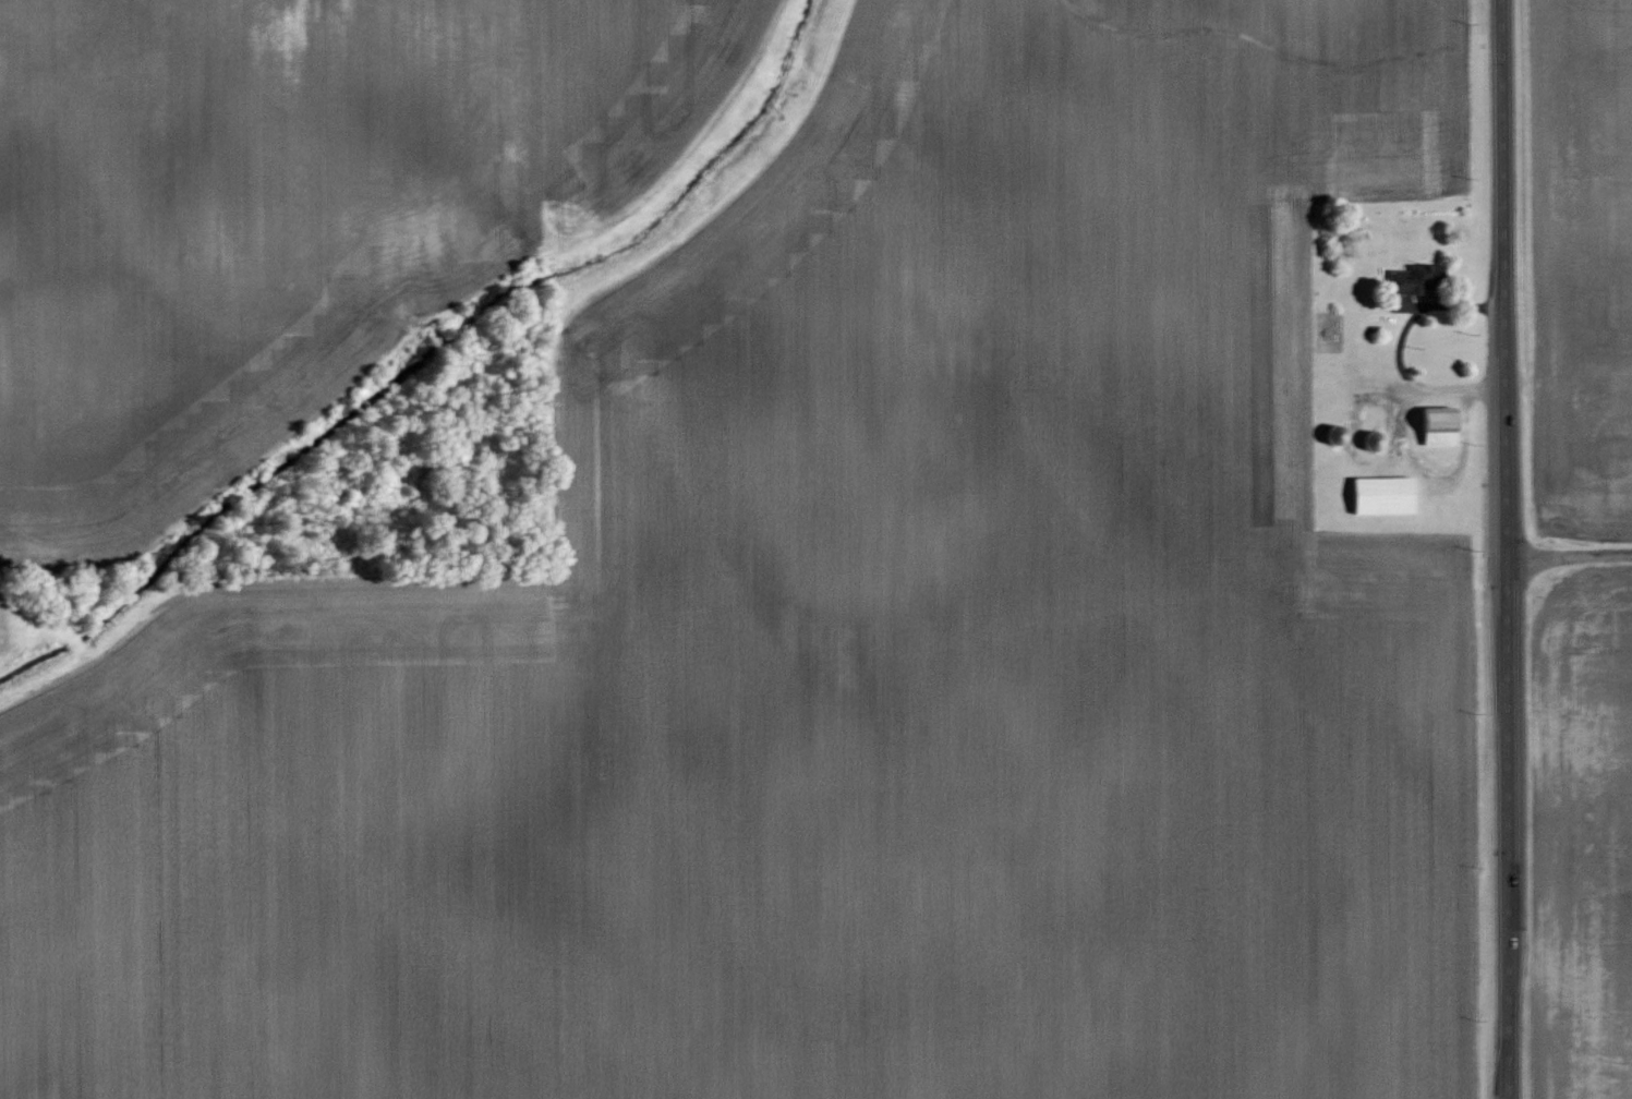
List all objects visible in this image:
building: (1410, 283)
road: (1399, 347)
building: (1437, 425)
building: (1381, 495)
road: (1506, 548)
road: (1569, 564)

